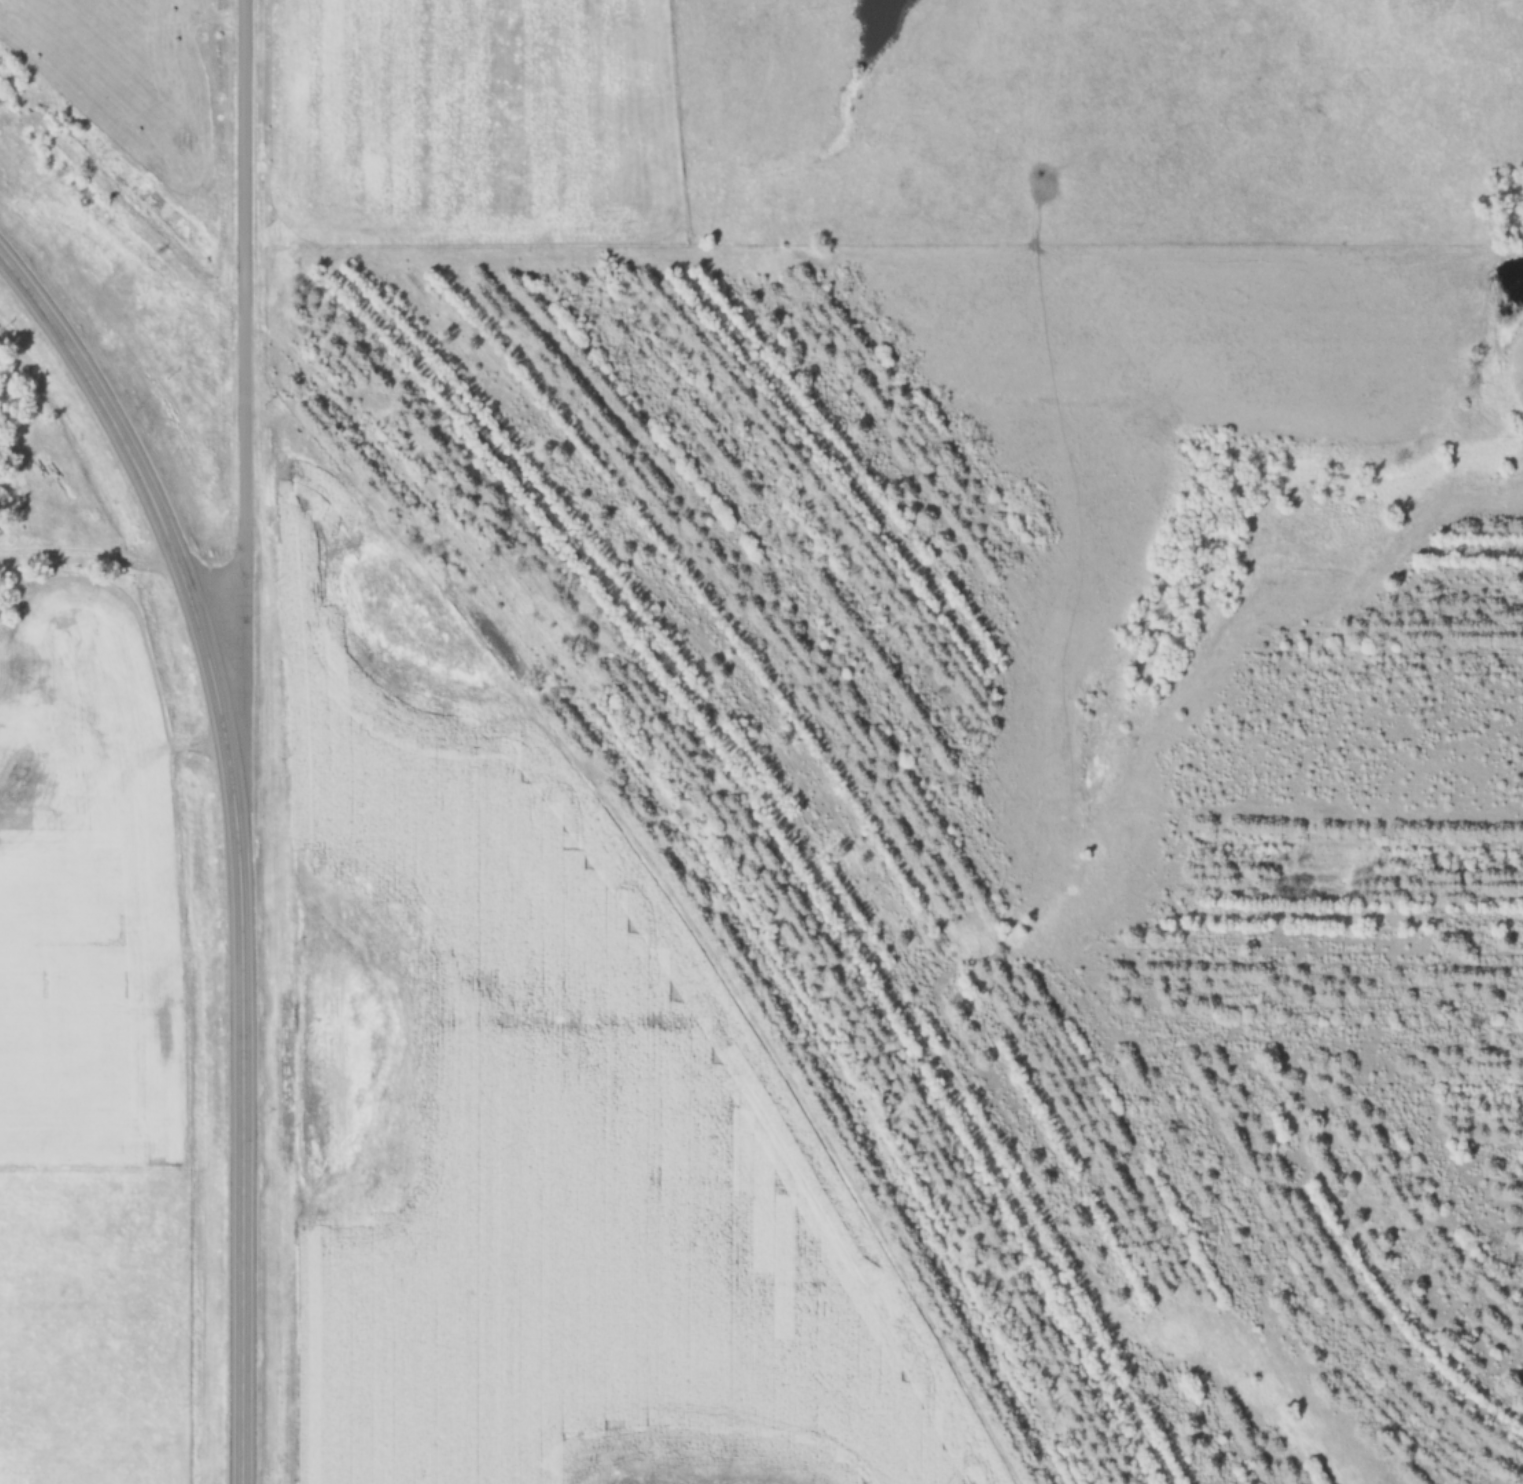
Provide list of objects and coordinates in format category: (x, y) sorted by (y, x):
road: (242, 435)
road: (241, 832)

